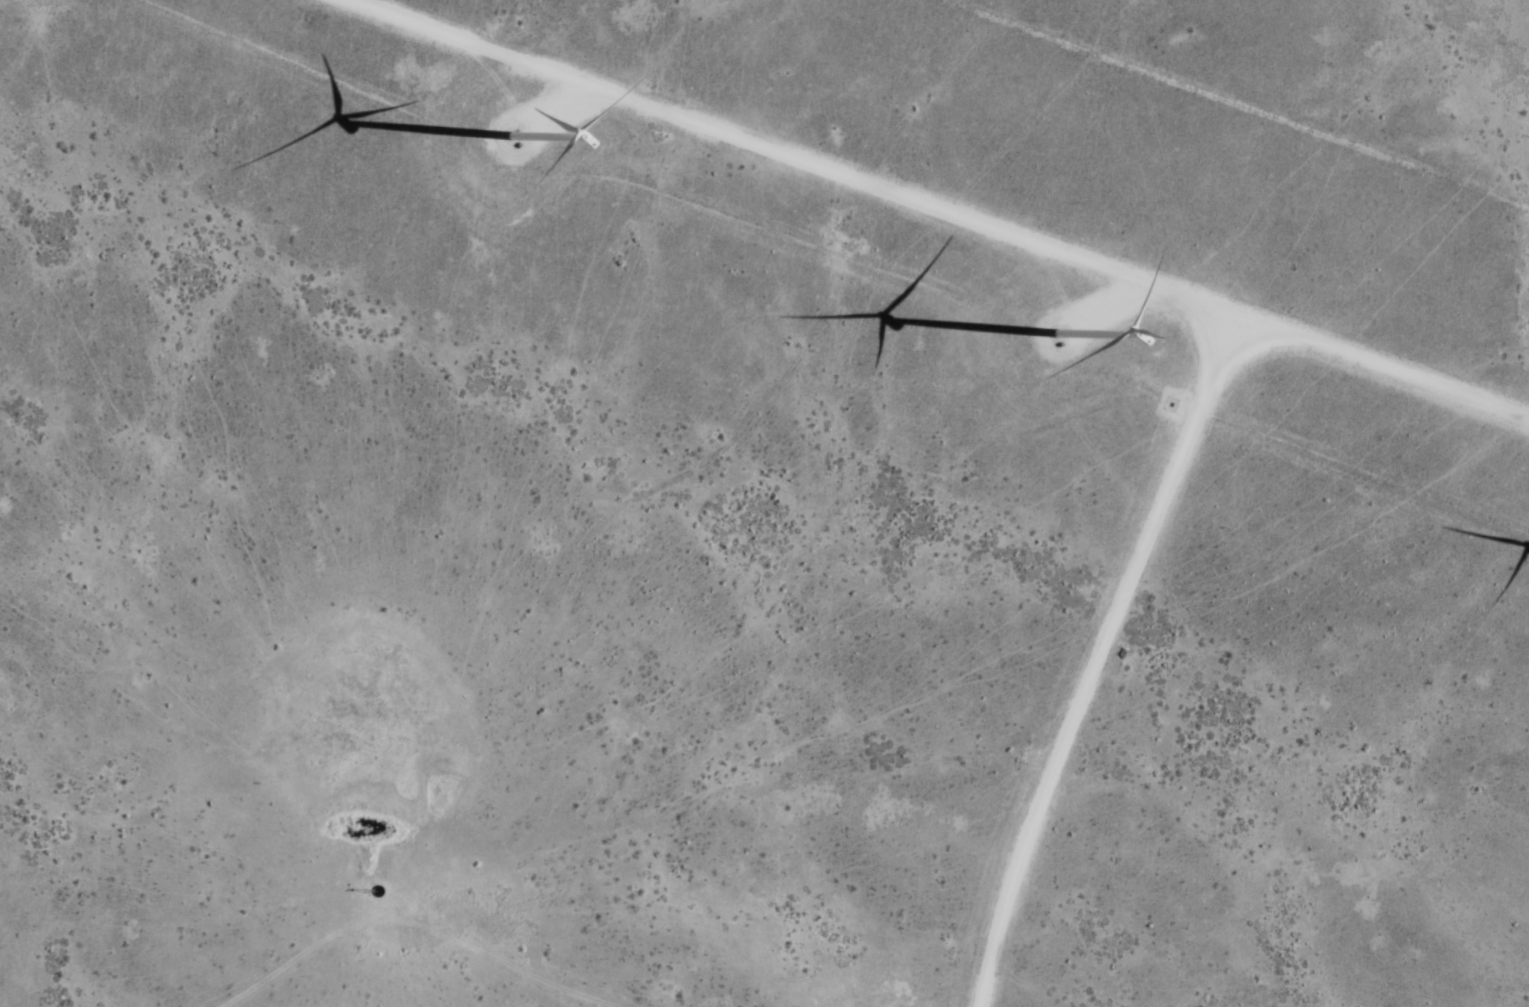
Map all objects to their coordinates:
wind turbine: (510, 130)
road: (1154, 280)
wind turbine: (1050, 330)

